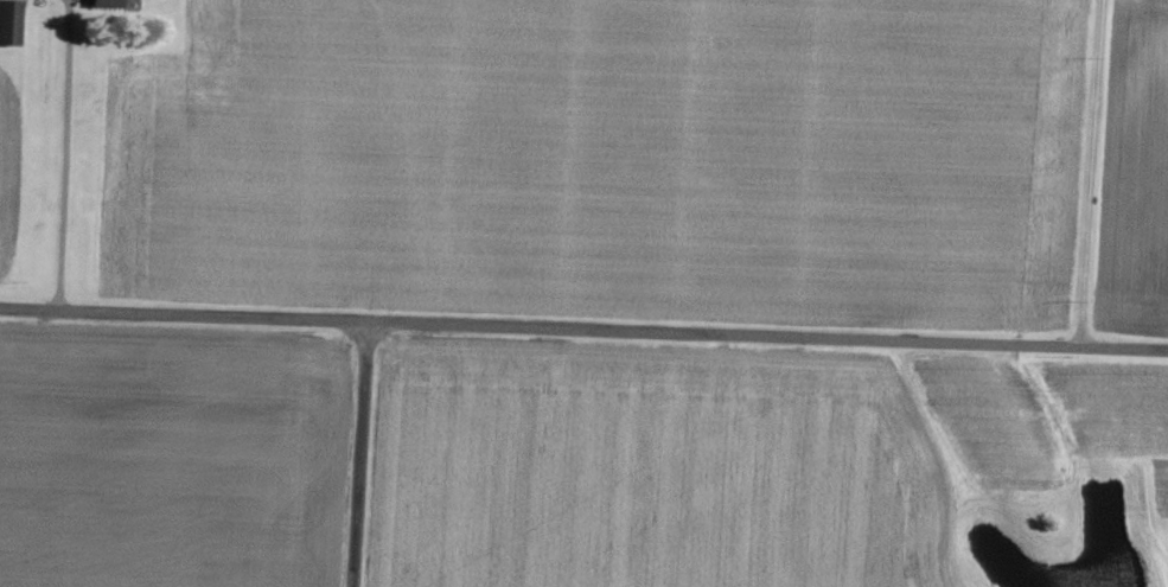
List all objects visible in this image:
building: (110, 4)
building: (9, 23)
road: (64, 157)
road: (1092, 174)
road: (583, 332)
road: (358, 455)

